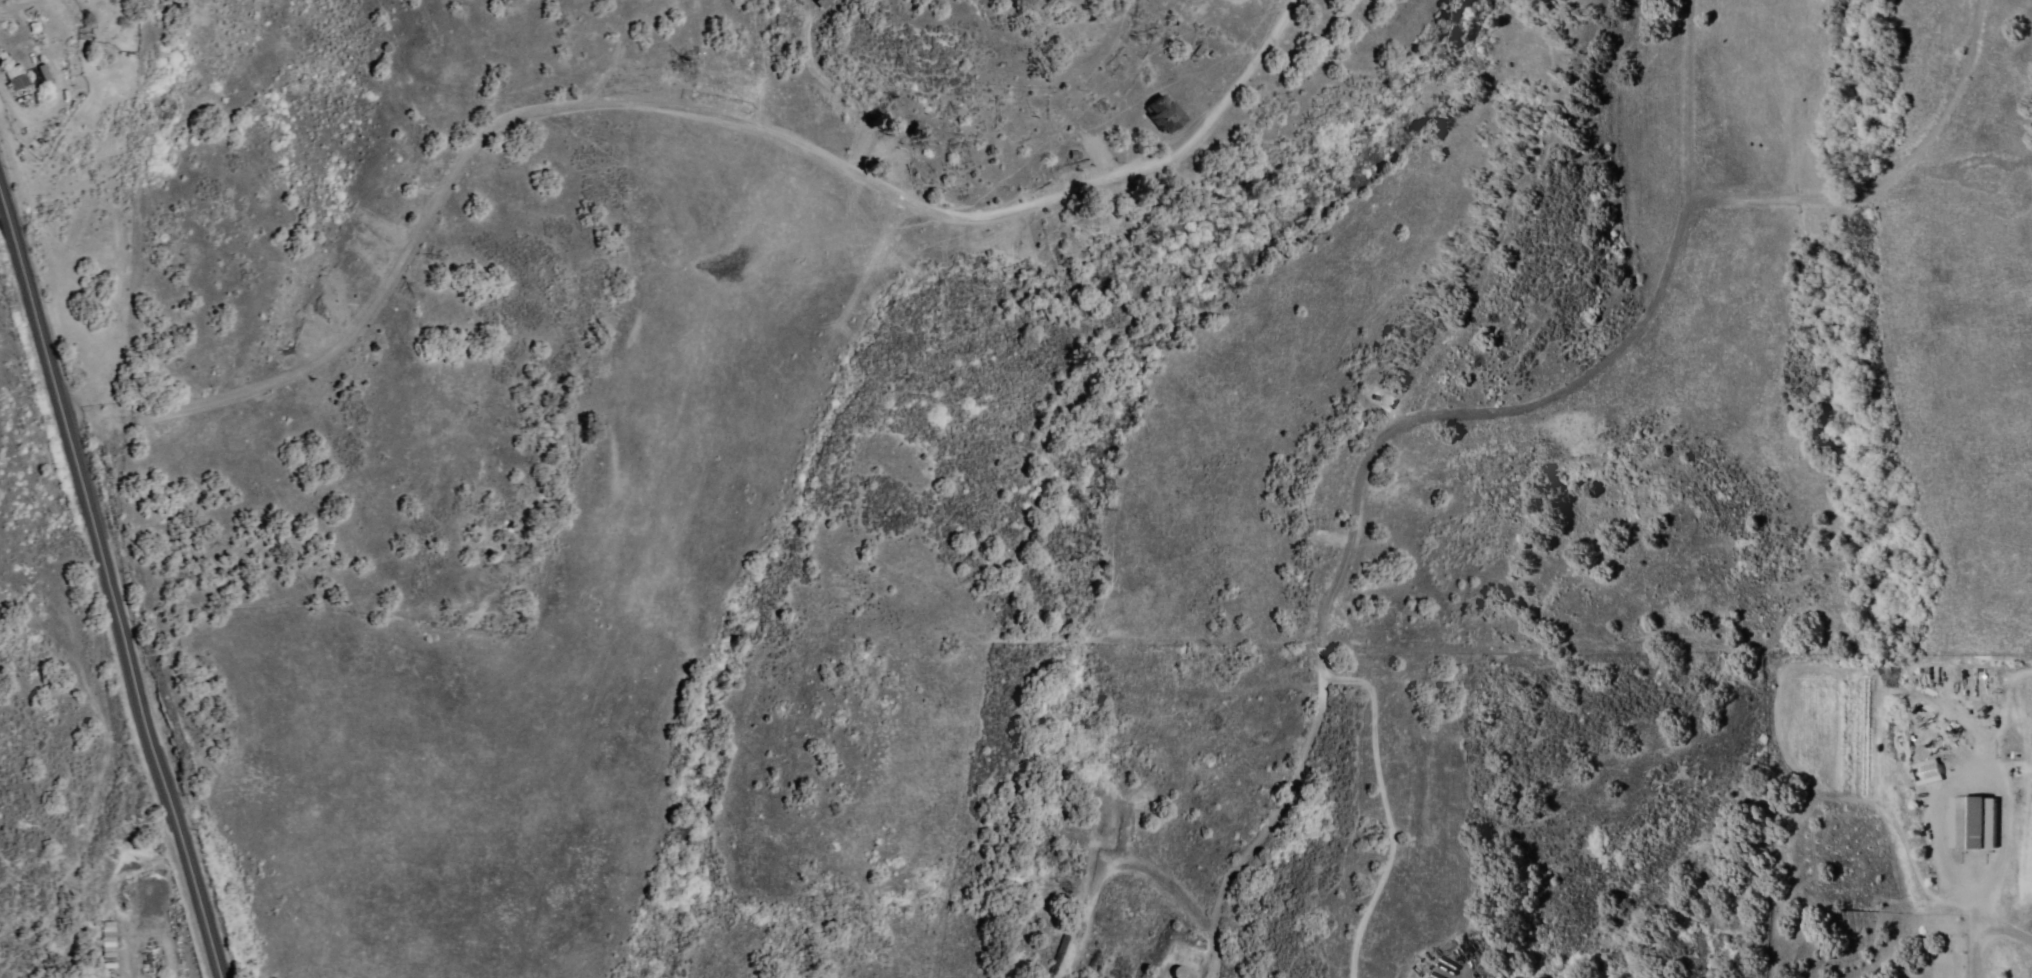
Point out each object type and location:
building: (821, 3)
building: (43, 72)
building: (16, 78)
road: (669, 103)
building: (1167, 114)
road: (112, 579)
building: (1923, 772)
building: (1969, 822)
building: (107, 939)

